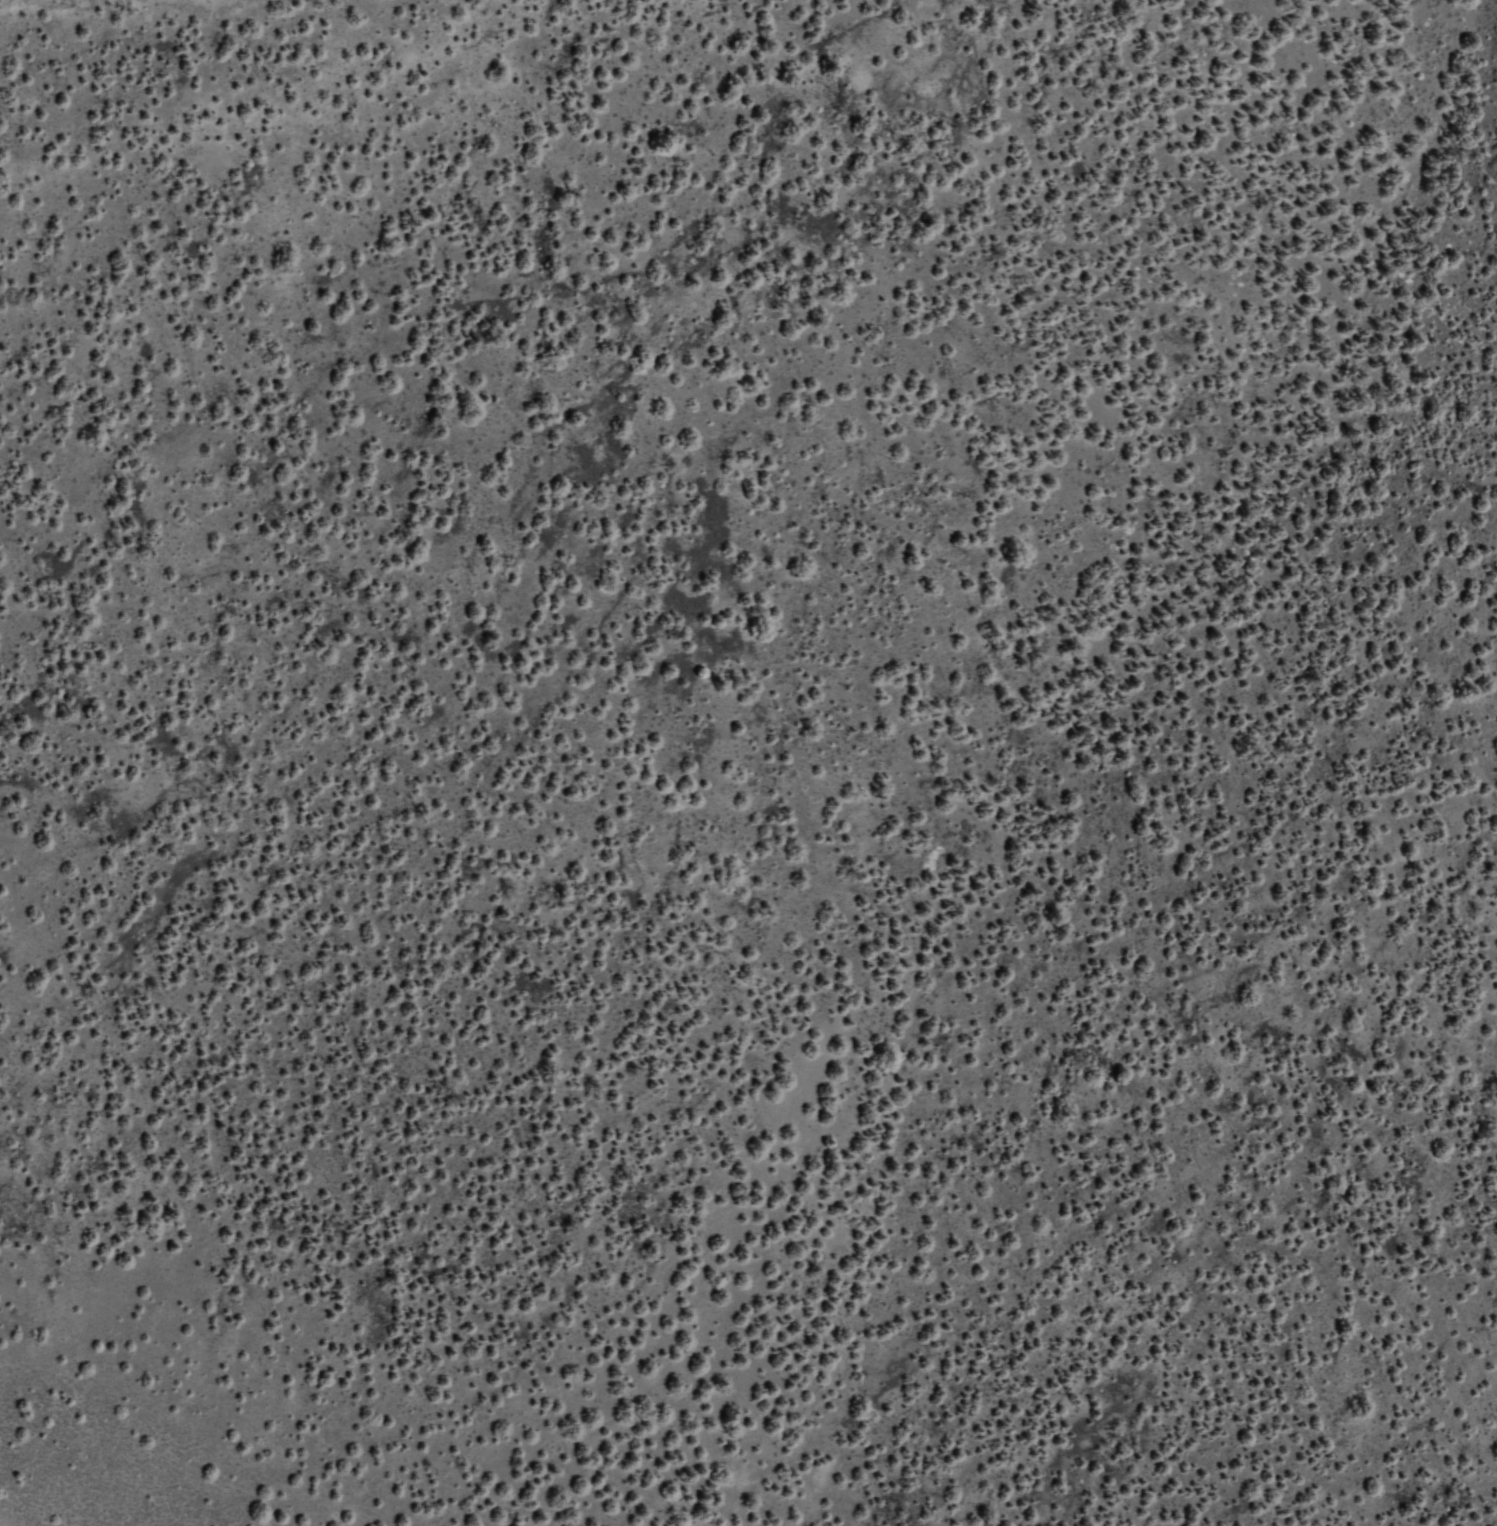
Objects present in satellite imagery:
road: (5, 1521)

